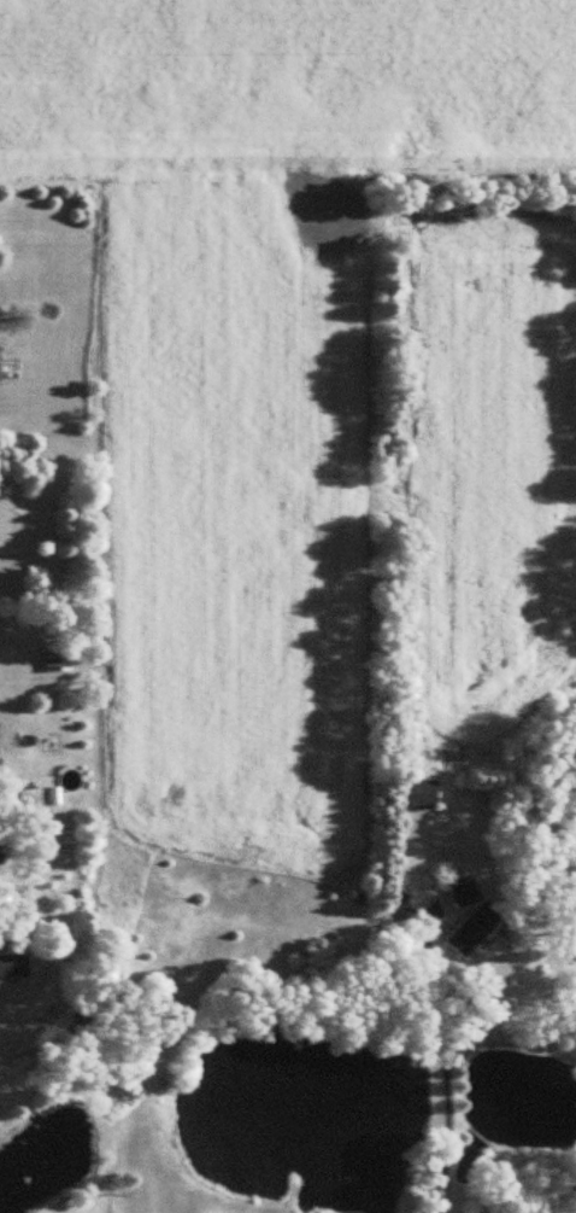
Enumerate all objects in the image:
building: (60, 655)
building: (424, 793)
building: (475, 916)
building: (13, 964)
road: (446, 1065)

